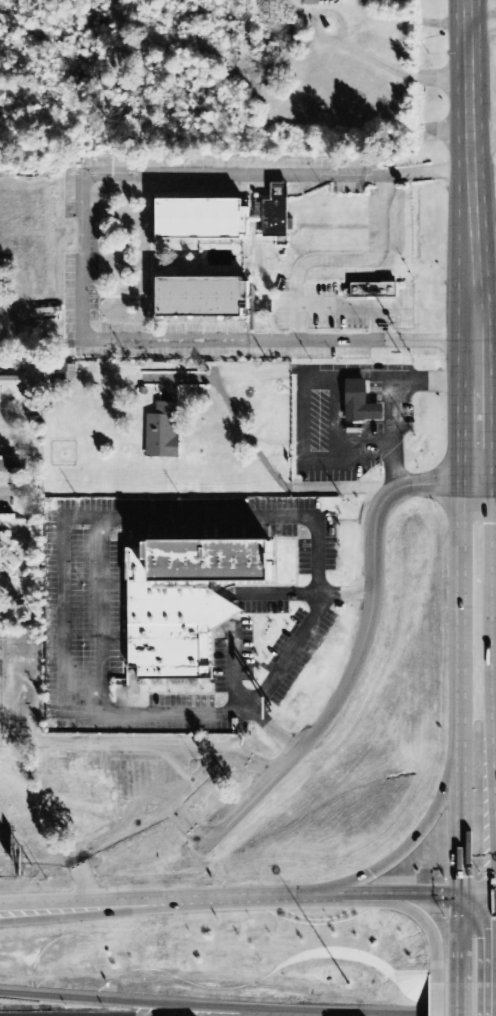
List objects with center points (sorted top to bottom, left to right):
building: (311, 2)
road: (482, 21)
road: (470, 138)
building: (276, 212)
building: (203, 220)
road: (84, 261)
road: (484, 278)
building: (372, 289)
building: (203, 297)
road: (473, 377)
building: (14, 387)
building: (363, 402)
building: (163, 433)
road: (485, 478)
building: (8, 552)
building: (4, 583)
building: (186, 604)
road: (462, 609)
road: (360, 650)
road: (494, 695)
road: (492, 721)
road: (462, 818)
road: (127, 828)
road: (412, 840)
road: (40, 853)
road: (391, 894)
traffic signals: (464, 894)
road: (480, 894)
traffic signals: (493, 894)
road: (265, 895)
road: (105, 899)
road: (105, 906)
road: (425, 916)
road: (463, 931)
street lamp: (346, 983)
road: (447, 992)
road: (462, 992)
road: (494, 992)
road: (153, 1001)

